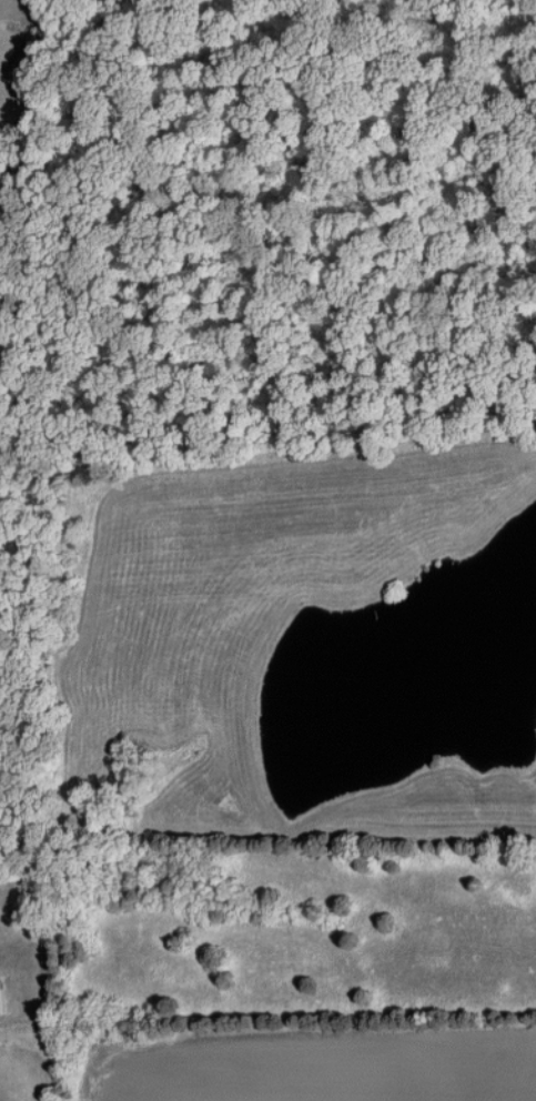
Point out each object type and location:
building: (0, 998)

